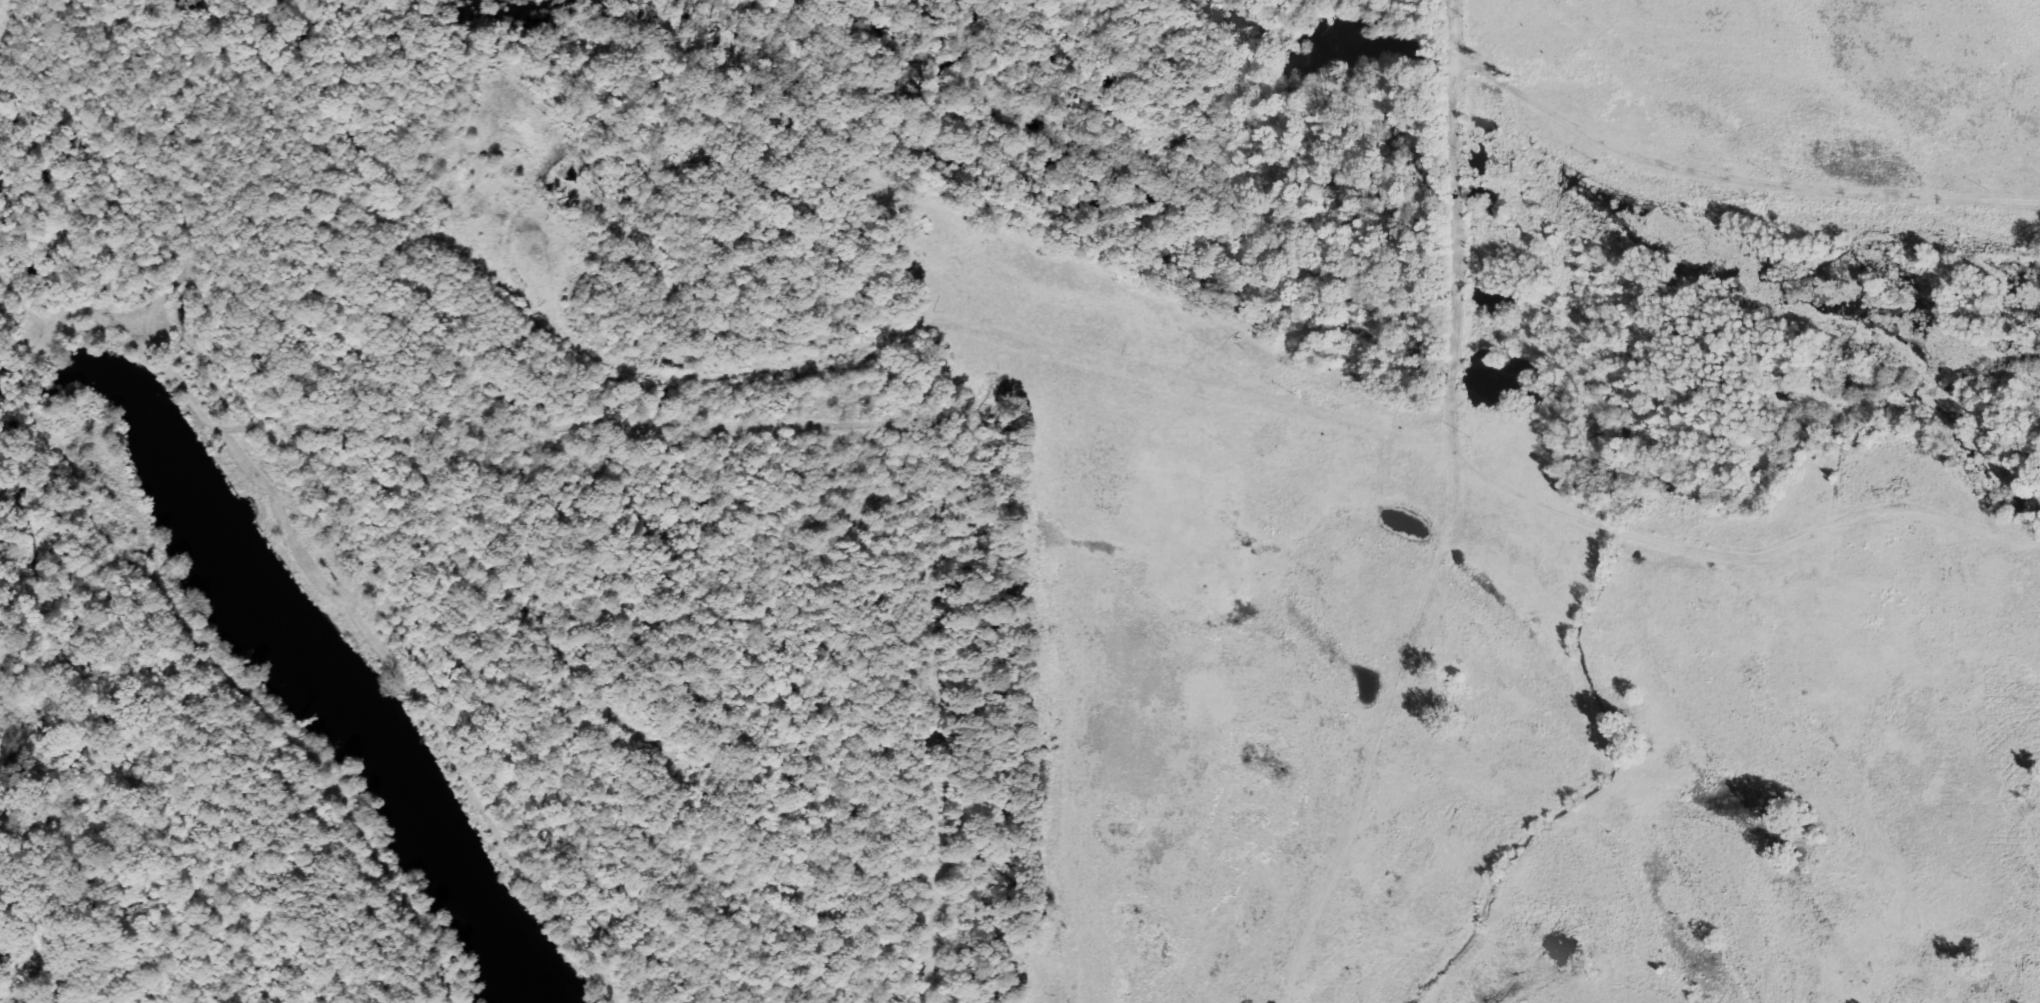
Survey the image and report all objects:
road: (84, 493)

